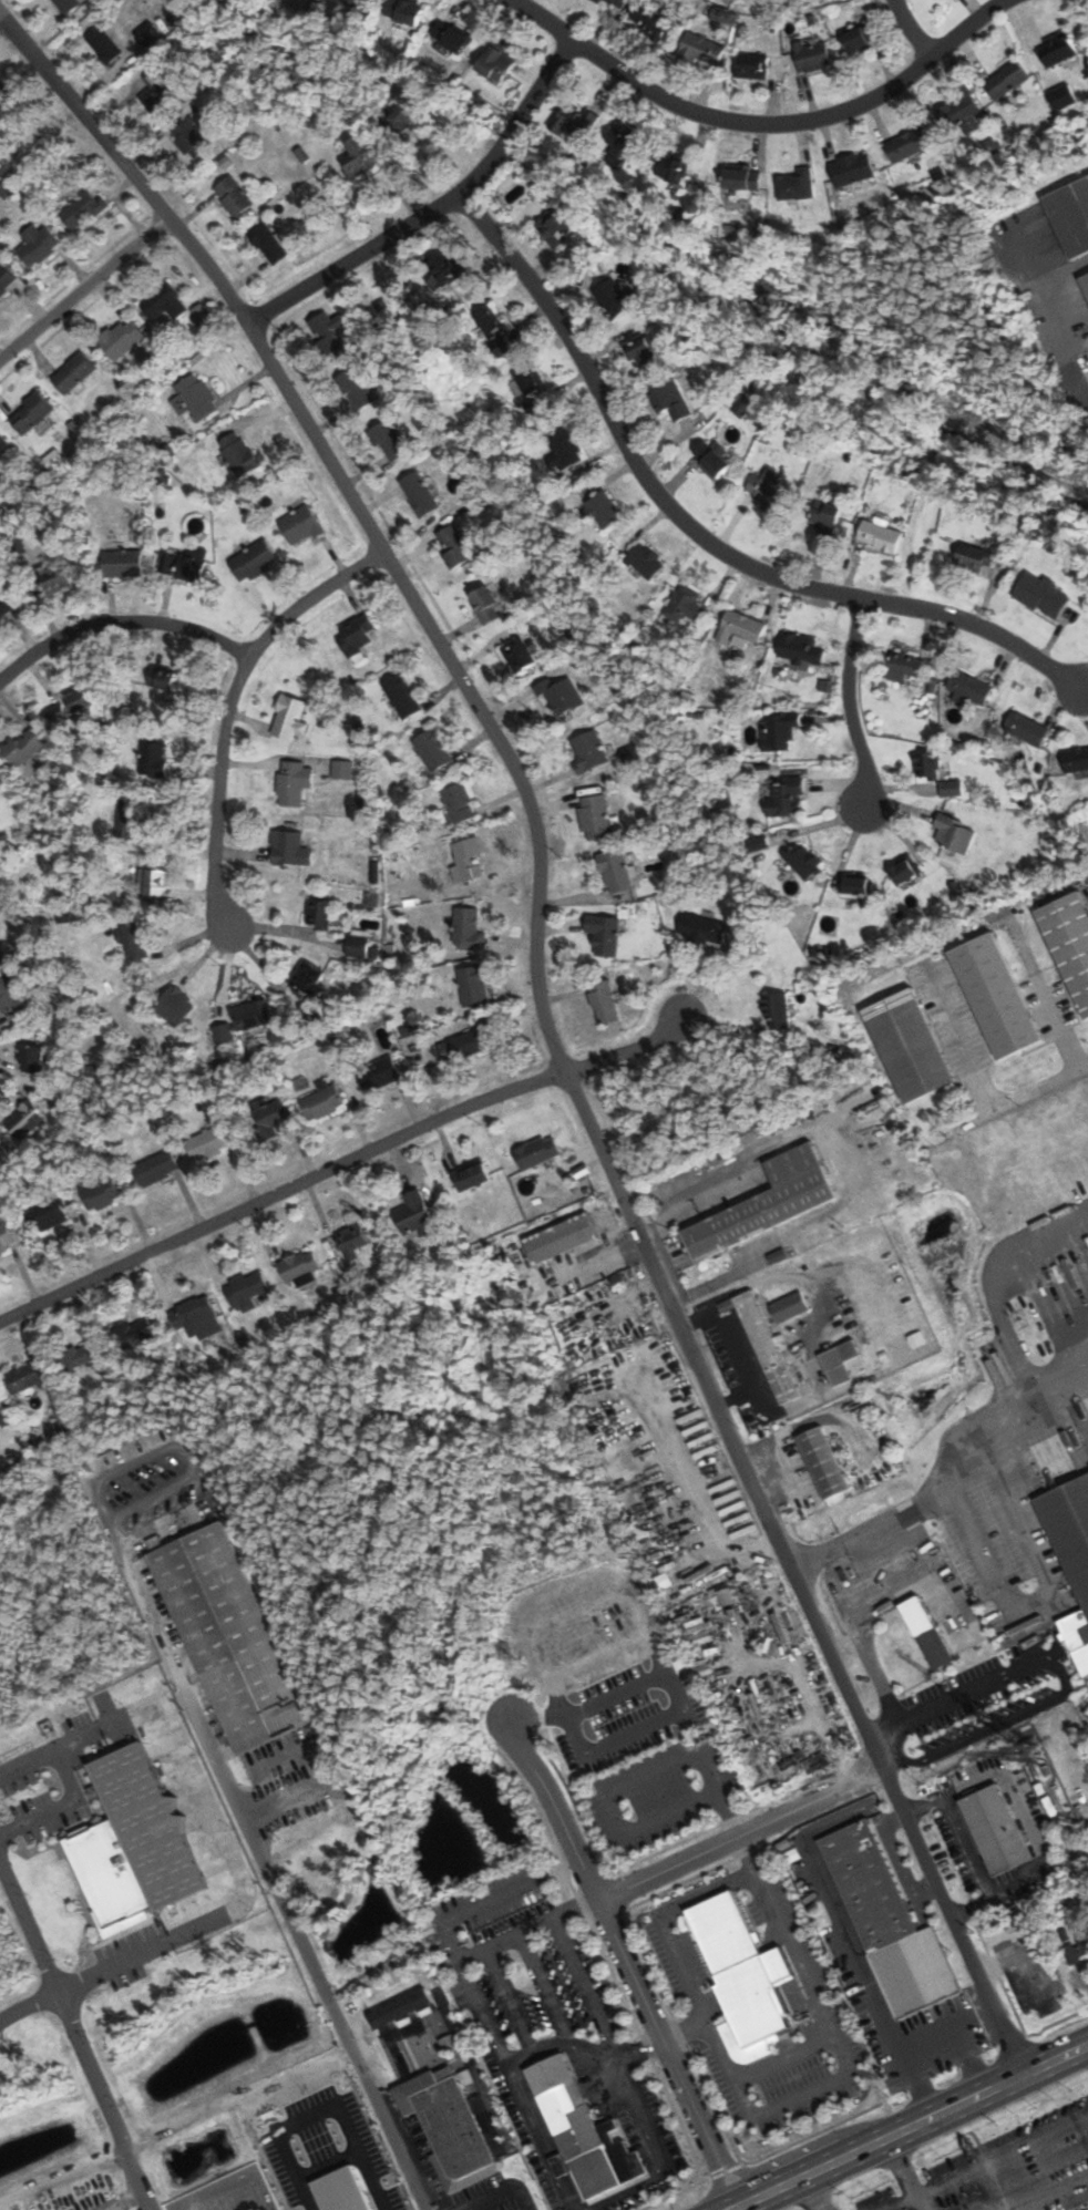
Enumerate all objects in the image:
building: (358, 3)
building: (618, 3)
building: (66, 6)
building: (403, 12)
building: (650, 25)
road: (909, 30)
building: (450, 38)
building: (860, 39)
building: (102, 45)
building: (702, 50)
building: (1057, 50)
building: (811, 56)
building: (495, 64)
building: (752, 66)
building: (1006, 80)
building: (3, 90)
building: (156, 90)
building: (1061, 96)
building: (958, 106)
building: (403, 115)
building: (573, 121)
road: (760, 123)
building: (191, 138)
building: (907, 144)
building: (619, 148)
building: (362, 156)
building: (670, 167)
building: (852, 168)
building: (742, 177)
building: (796, 183)
building: (233, 196)
building: (82, 210)
road: (434, 210)
building: (1070, 215)
building: (554, 226)
building: (269, 240)
building: (37, 244)
building: (448, 273)
building: (6, 278)
building: (1085, 280)
road: (83, 287)
building: (612, 297)
building: (164, 302)
building: (490, 322)
building: (328, 331)
building: (121, 338)
building: (639, 351)
building: (74, 371)
building: (531, 381)
building: (356, 388)
building: (195, 397)
building: (669, 400)
building: (30, 413)
building: (3, 442)
building: (391, 442)
building: (564, 451)
building: (238, 453)
building: (710, 459)
building: (766, 490)
building: (419, 493)
building: (603, 510)
road: (358, 512)
building: (824, 516)
building: (300, 525)
road: (696, 534)
building: (879, 535)
building: (453, 546)
building: (971, 557)
building: (255, 559)
building: (646, 561)
building: (122, 563)
building: (183, 565)
building: (54, 579)
building: (1040, 595)
building: (485, 604)
building: (4, 605)
building: (687, 605)
road: (121, 621)
building: (741, 627)
building: (355, 634)
building: (800, 650)
building: (521, 655)
building: (906, 664)
building: (162, 678)
building: (969, 687)
building: (563, 695)
building: (401, 696)
building: (80, 700)
road: (846, 700)
road: (227, 708)
building: (58, 713)
building: (289, 718)
building: (1026, 728)
building: (779, 730)
building: (23, 747)
building: (432, 749)
building: (588, 750)
building: (153, 759)
building: (1076, 759)
building: (927, 764)
building: (295, 782)
building: (951, 788)
building: (788, 798)
building: (459, 802)
building: (127, 815)
building: (594, 816)
building: (954, 833)
building: (288, 847)
building: (469, 860)
building: (803, 861)
building: (615, 871)
building: (904, 872)
building: (155, 883)
building: (856, 884)
building: (320, 914)
building: (704, 928)
building: (466, 929)
building: (604, 934)
building: (135, 942)
building: (1070, 943)
building: (361, 946)
building: (309, 980)
building: (473, 986)
building: (995, 995)
building: (10, 1000)
building: (603, 1001)
building: (176, 1007)
building: (777, 1011)
building: (244, 1020)
building: (463, 1045)
building: (909, 1046)
road: (627, 1050)
building: (33, 1060)
building: (379, 1073)
road: (1061, 1077)
building: (324, 1102)
building: (271, 1117)
building: (24, 1121)
building: (205, 1144)
building: (537, 1152)
building: (155, 1169)
building: (471, 1176)
road: (279, 1191)
building: (101, 1194)
building: (768, 1197)
building: (989, 1214)
building: (45, 1215)
building: (414, 1215)
building: (4, 1237)
building: (560, 1238)
building: (352, 1240)
building: (298, 1267)
building: (245, 1291)
building: (789, 1307)
building: (195, 1319)
building: (134, 1332)
building: (763, 1345)
building: (84, 1353)
building: (839, 1363)
building: (25, 1376)
building: (3, 1416)
building: (822, 1462)
building: (1070, 1548)
road: (793, 1574)
building: (725, 1597)
building: (926, 1633)
building: (228, 1638)
road: (1059, 1668)
road: (943, 1765)
road: (66, 1784)
road: (891, 1817)
road: (740, 1830)
building: (994, 1830)
road: (967, 1846)
road: (824, 1883)
road: (663, 1922)
building: (887, 1925)
building: (1079, 1945)
road: (623, 1959)
building: (742, 1978)
road: (74, 1981)
road: (583, 1986)
road: (320, 1987)
road: (76, 2037)
building: (447, 2126)
road: (909, 2127)
building: (582, 2132)
building: (309, 2149)
road: (1000, 2156)
road: (61, 2175)
road: (901, 2175)
road: (813, 2192)

